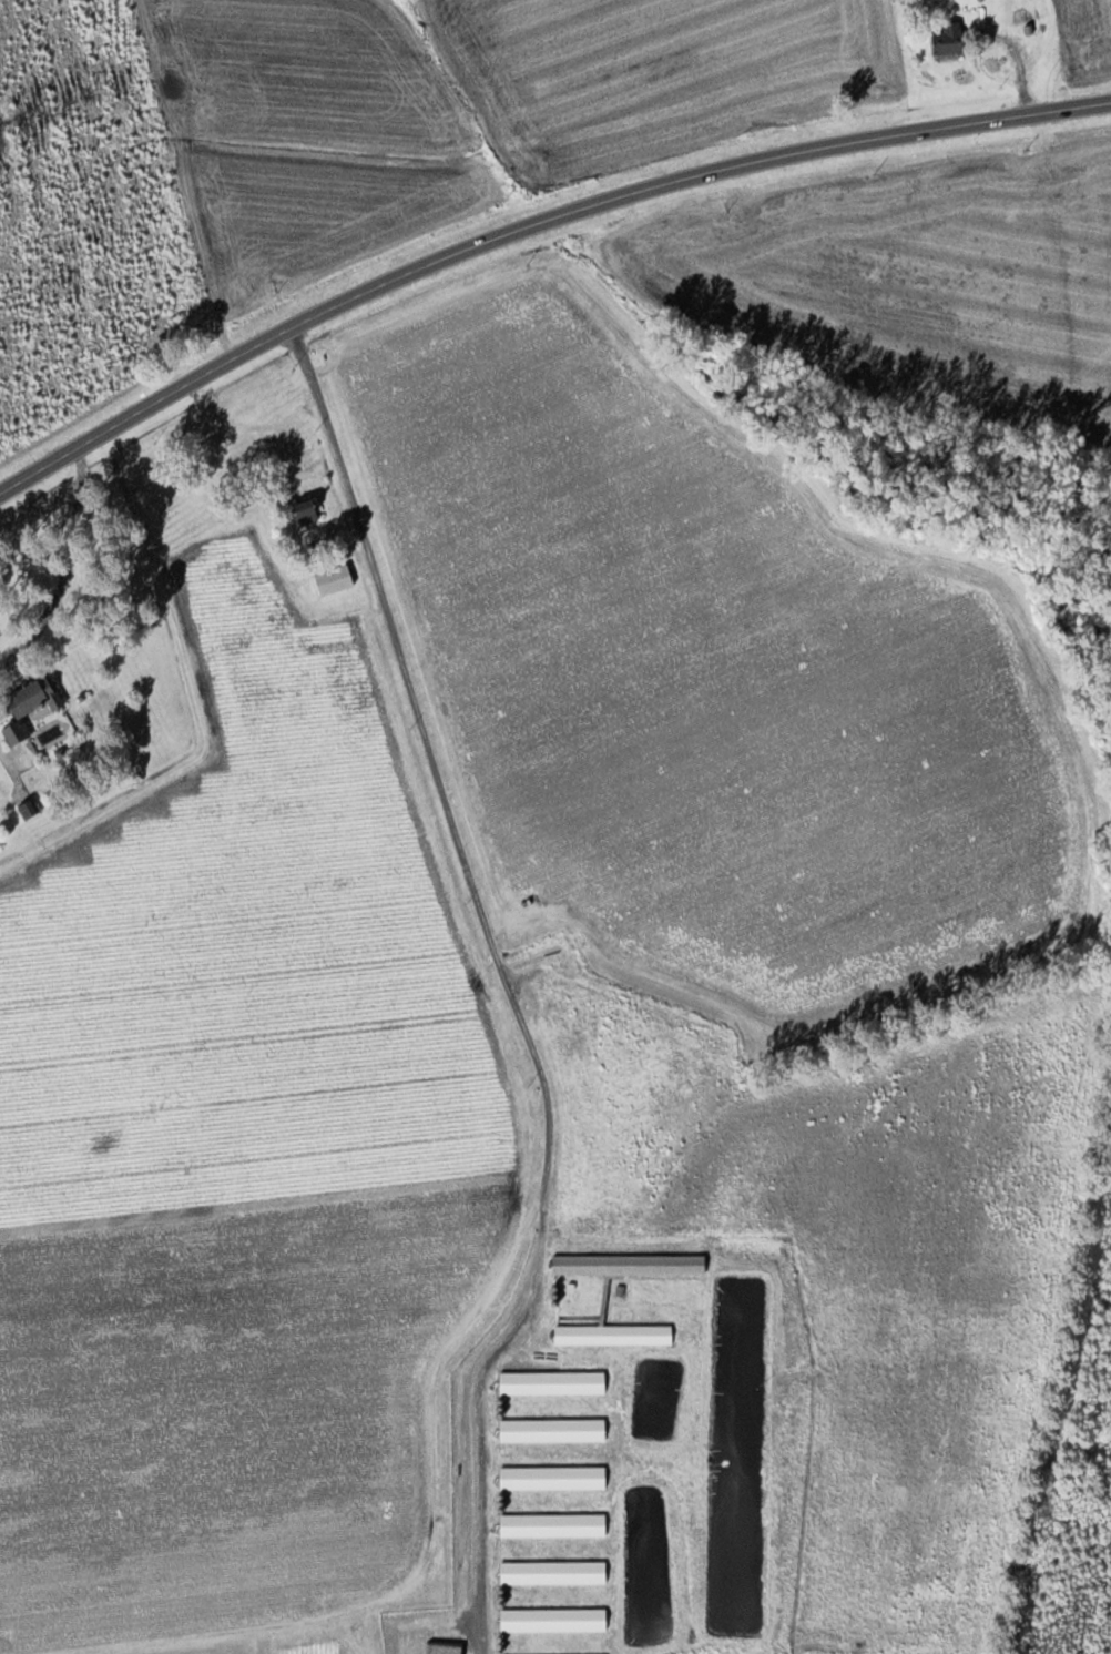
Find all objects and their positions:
building: (1022, 11)
building: (951, 39)
road: (530, 224)
building: (309, 509)
building: (335, 578)
building: (32, 706)
building: (28, 810)
road: (504, 970)
building: (631, 1264)
building: (614, 1333)
building: (553, 1382)
building: (554, 1430)
building: (554, 1478)
building: (555, 1524)
building: (555, 1572)
building: (555, 1620)

